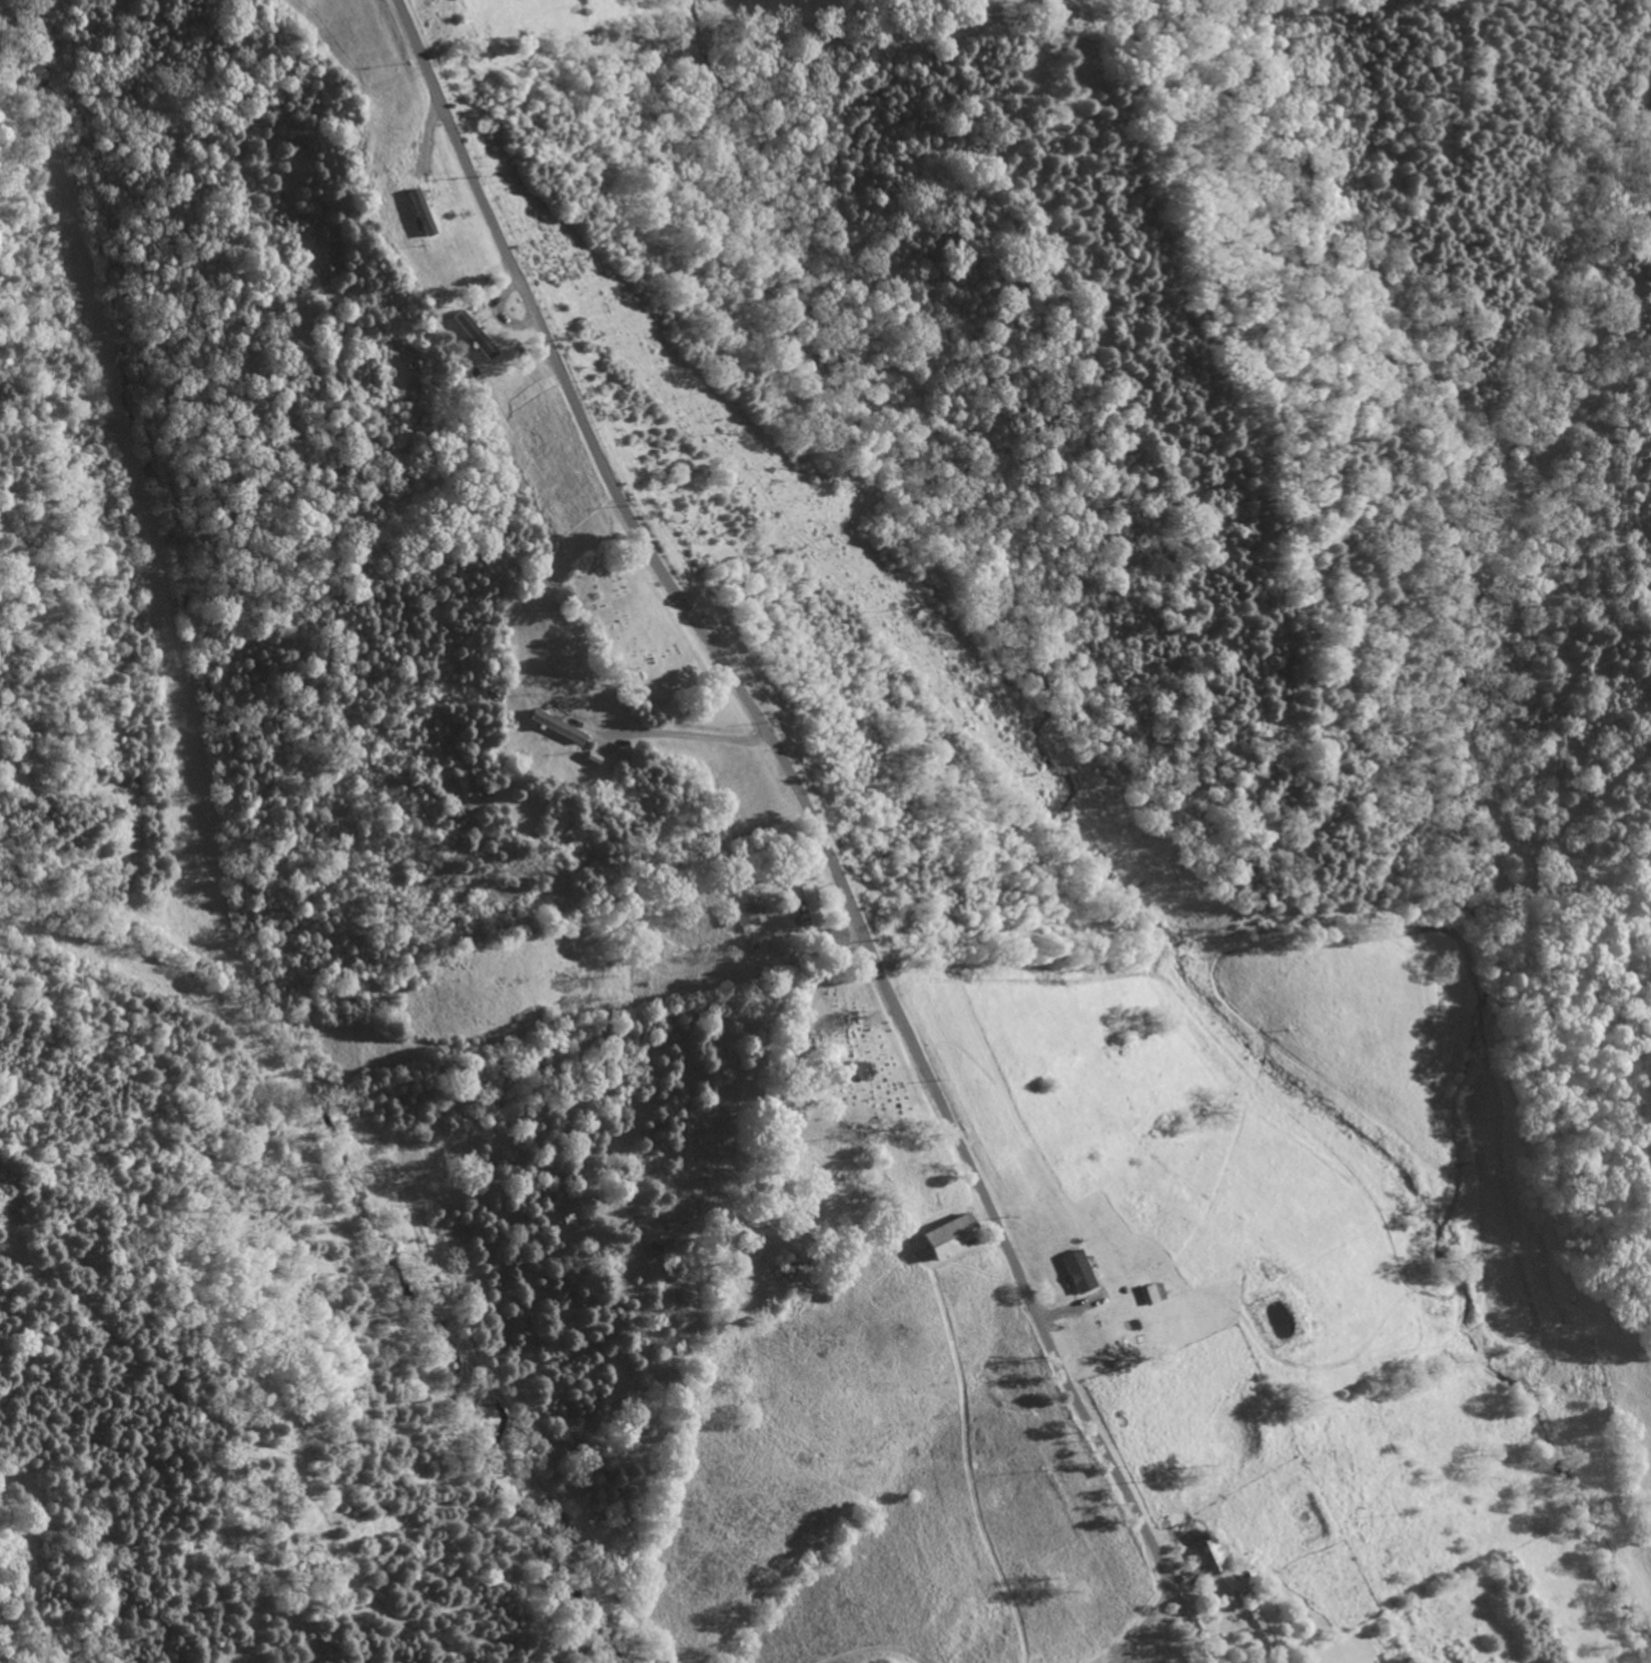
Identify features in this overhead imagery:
building: (421, 213)
building: (481, 344)
park: (634, 632)
road: (620, 739)
road: (812, 825)
building: (807, 907)
building: (748, 913)
building: (835, 937)
park: (835, 1068)
building: (950, 1237)
building: (1076, 1271)
building: (1148, 1293)
building: (1208, 1555)
building: (1265, 1621)

